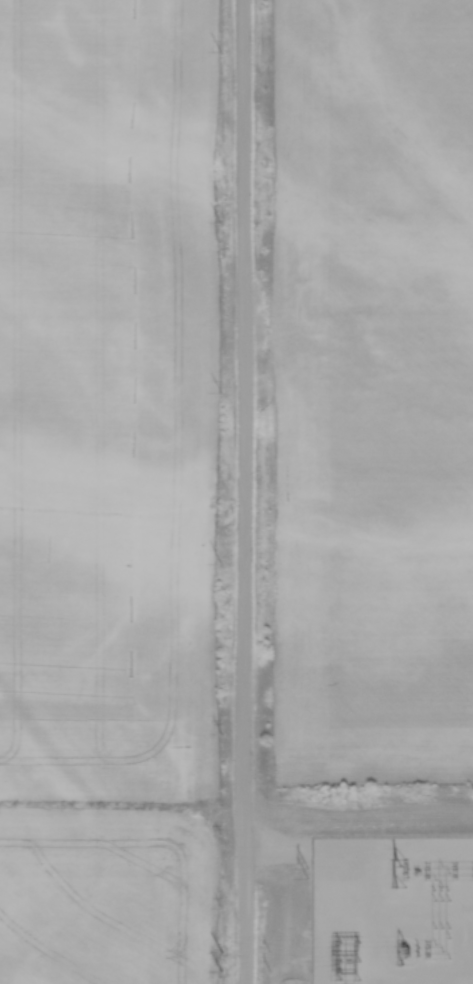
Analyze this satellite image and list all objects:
road: (242, 492)
road: (276, 848)
power tower: (400, 869)
power tower: (306, 871)
power substation: (392, 910)

